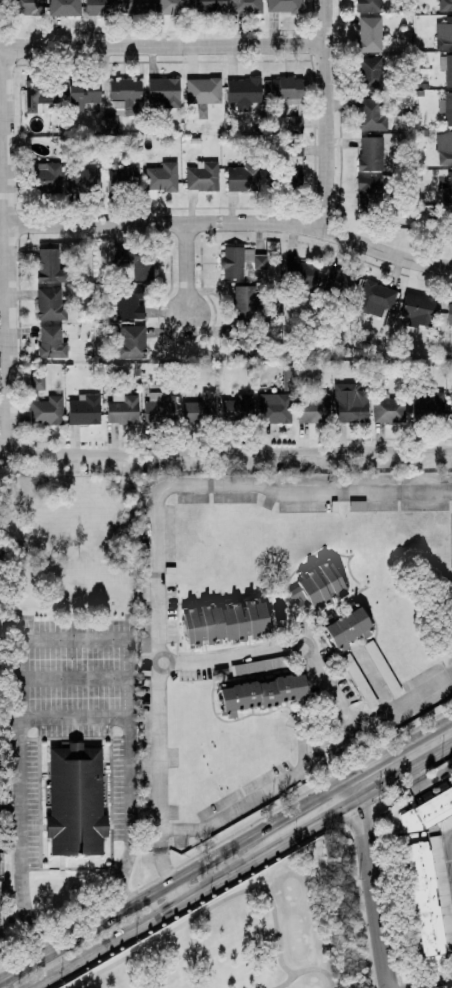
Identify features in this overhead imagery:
building: (3, 5)
building: (210, 5)
building: (284, 5)
building: (369, 5)
building: (445, 5)
building: (28, 6)
building: (136, 6)
building: (173, 6)
building: (246, 6)
building: (65, 7)
building: (101, 7)
building: (370, 34)
building: (444, 34)
road: (162, 46)
building: (447, 67)
building: (370, 73)
building: (286, 88)
building: (204, 90)
building: (164, 91)
building: (126, 92)
building: (243, 92)
building: (83, 93)
building: (41, 94)
building: (447, 107)
building: (371, 113)
road: (329, 114)
building: (112, 123)
building: (296, 123)
building: (444, 147)
building: (296, 149)
building: (371, 153)
building: (124, 175)
building: (203, 176)
building: (244, 176)
building: (45, 177)
building: (162, 177)
building: (285, 177)
building: (82, 178)
building: (448, 189)
building: (370, 191)
road: (231, 223)
building: (450, 226)
road: (4, 250)
building: (135, 261)
building: (240, 261)
building: (51, 266)
road: (189, 271)
building: (300, 275)
building: (340, 284)
building: (376, 298)
building: (246, 301)
building: (129, 302)
building: (50, 304)
building: (419, 309)
building: (450, 313)
building: (245, 341)
building: (52, 342)
building: (132, 342)
building: (38, 385)
building: (451, 401)
building: (351, 402)
building: (428, 405)
building: (238, 407)
building: (275, 407)
building: (313, 407)
building: (160, 408)
building: (200, 408)
building: (85, 409)
building: (123, 409)
building: (389, 409)
building: (47, 410)
road: (226, 452)
building: (358, 505)
road: (156, 523)
building: (317, 587)
building: (224, 621)
building: (346, 626)
road: (48, 640)
road: (264, 651)
building: (258, 665)
road: (75, 679)
building: (359, 680)
road: (372, 681)
road: (394, 708)
road: (75, 714)
road: (323, 726)
road: (338, 726)
road: (403, 757)
road: (347, 767)
road: (323, 771)
road: (423, 783)
road: (274, 786)
road: (342, 788)
road: (336, 799)
road: (356, 800)
building: (72, 801)
road: (339, 808)
road: (293, 835)
road: (450, 835)
road: (450, 845)
road: (165, 865)
building: (428, 875)
road: (164, 884)
road: (175, 890)
road: (371, 901)
road: (148, 916)
park: (260, 933)
road: (436, 985)

